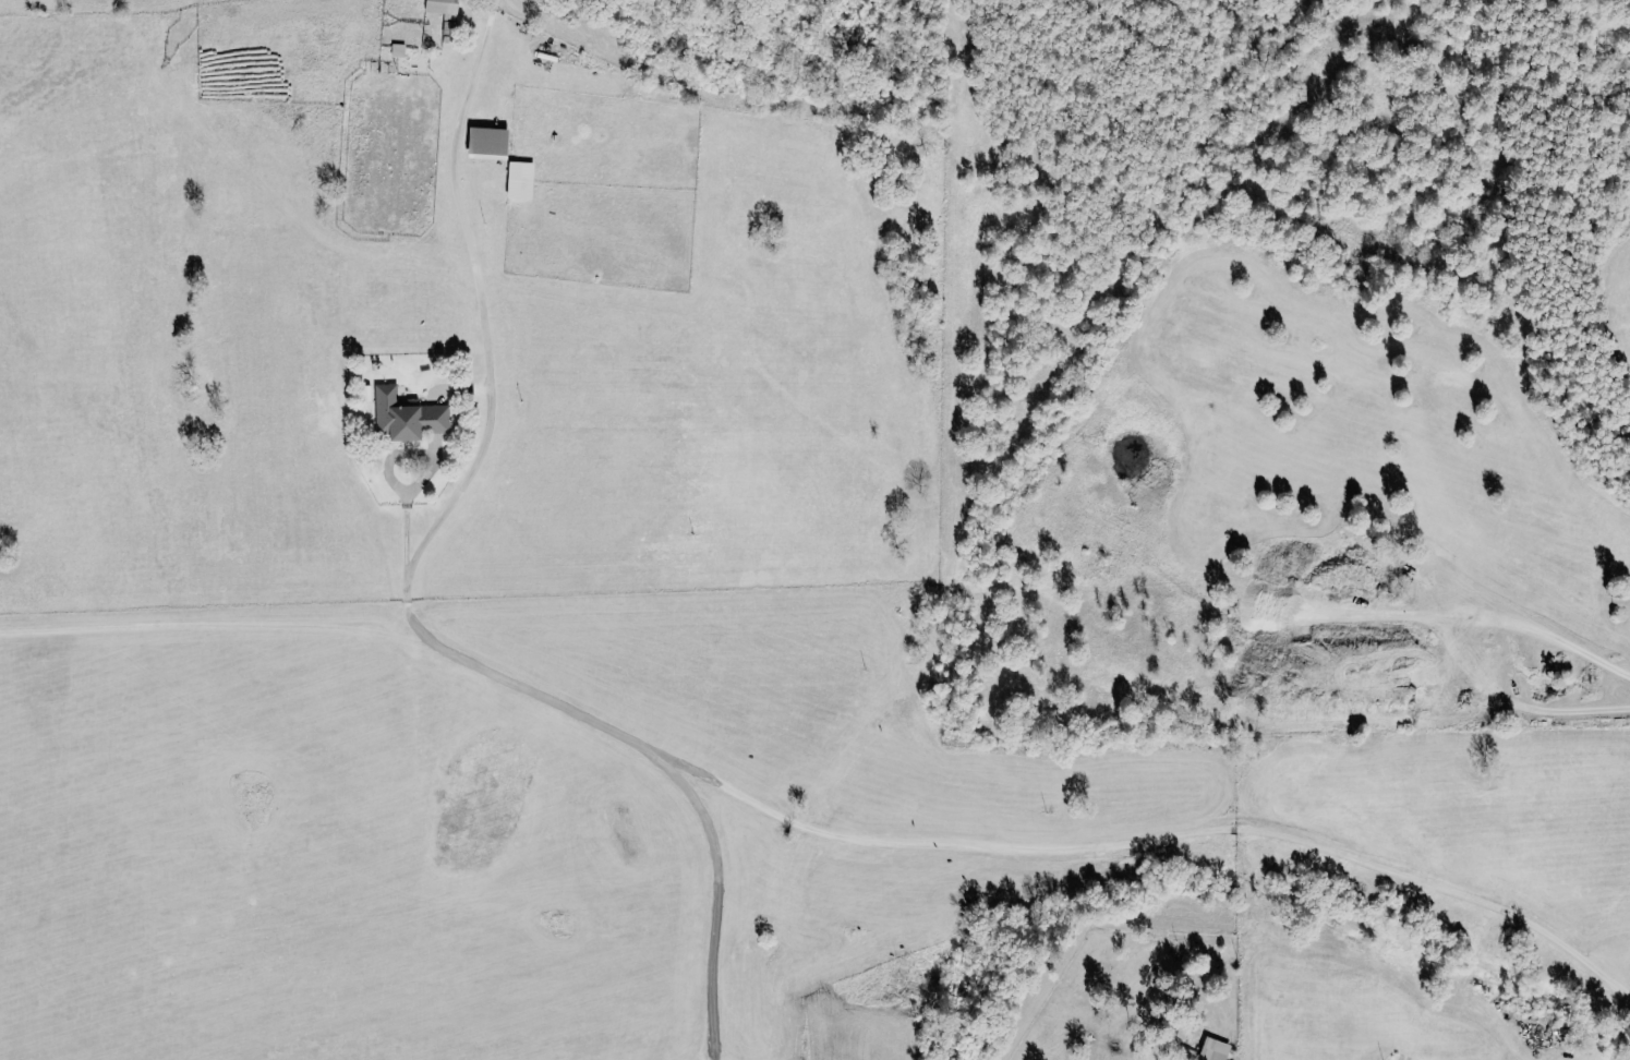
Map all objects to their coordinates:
building: (447, 14)
building: (490, 144)
building: (522, 180)
road: (480, 314)
building: (409, 417)
road: (1010, 854)
road: (714, 890)
building: (1216, 1049)

